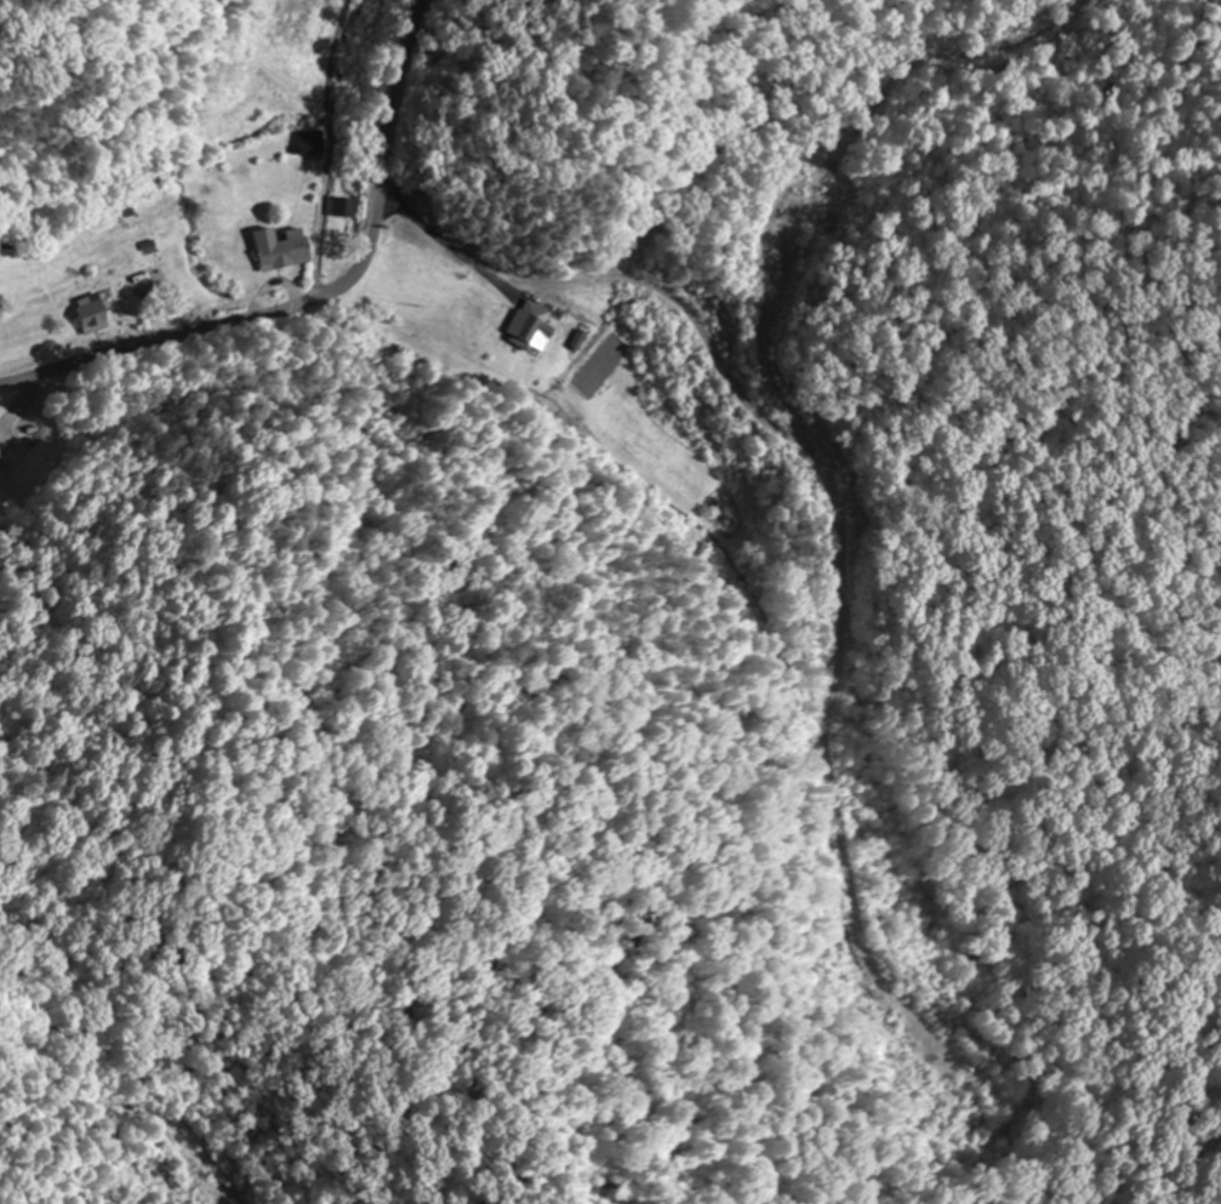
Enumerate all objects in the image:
building: (309, 142)
building: (280, 249)
road: (316, 301)
building: (95, 310)
building: (530, 325)
building: (0, 458)

